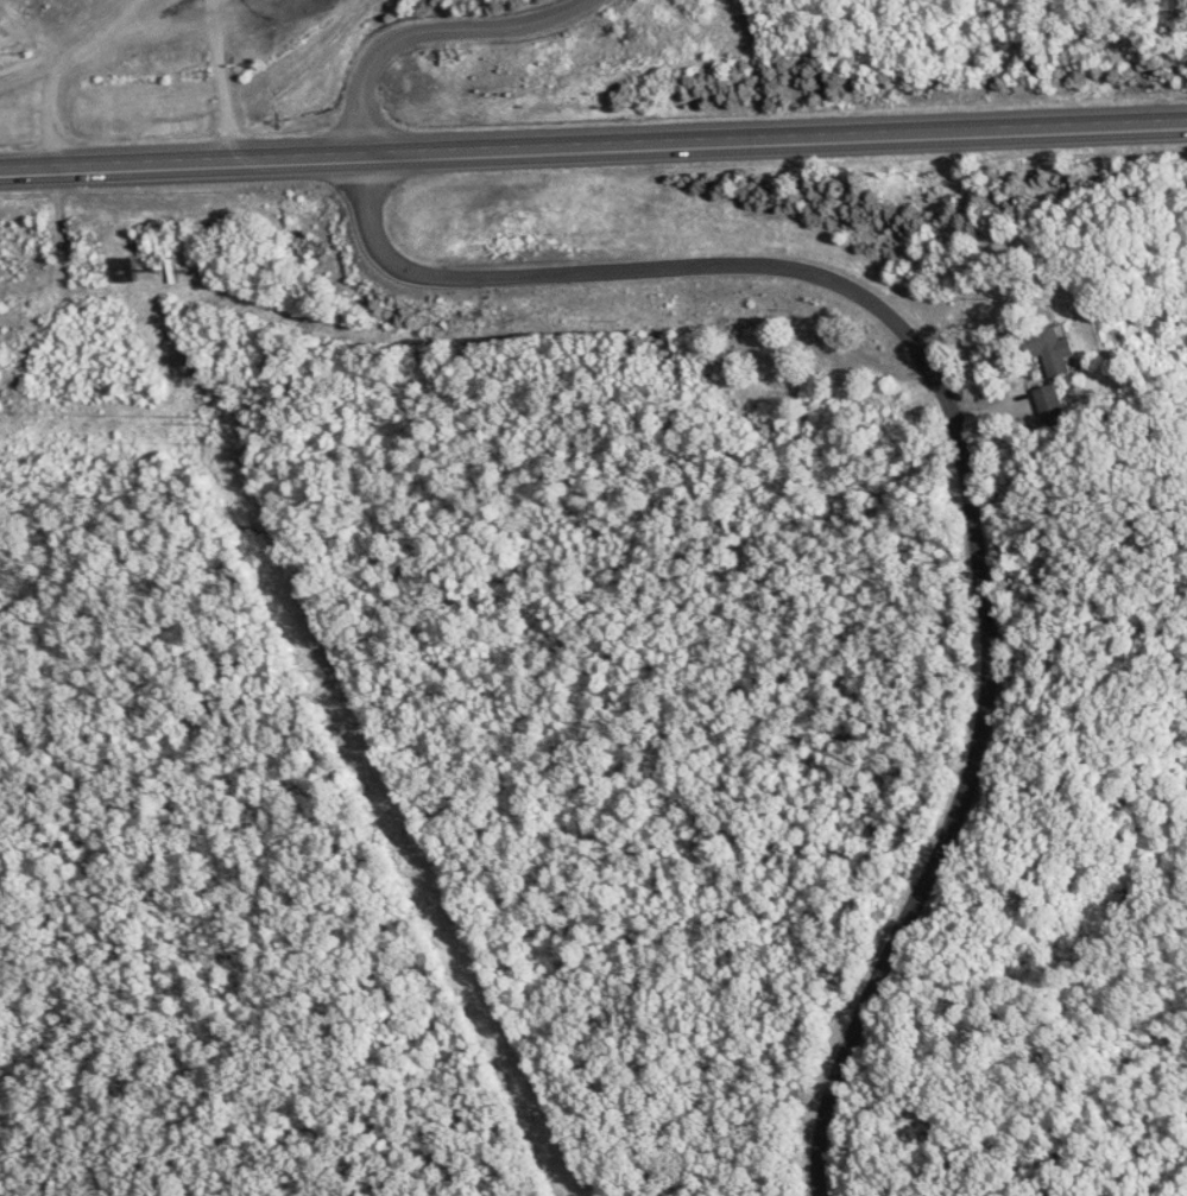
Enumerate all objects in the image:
road: (419, 30)
road: (593, 144)
building: (1061, 352)
building: (1054, 403)
road: (965, 448)

